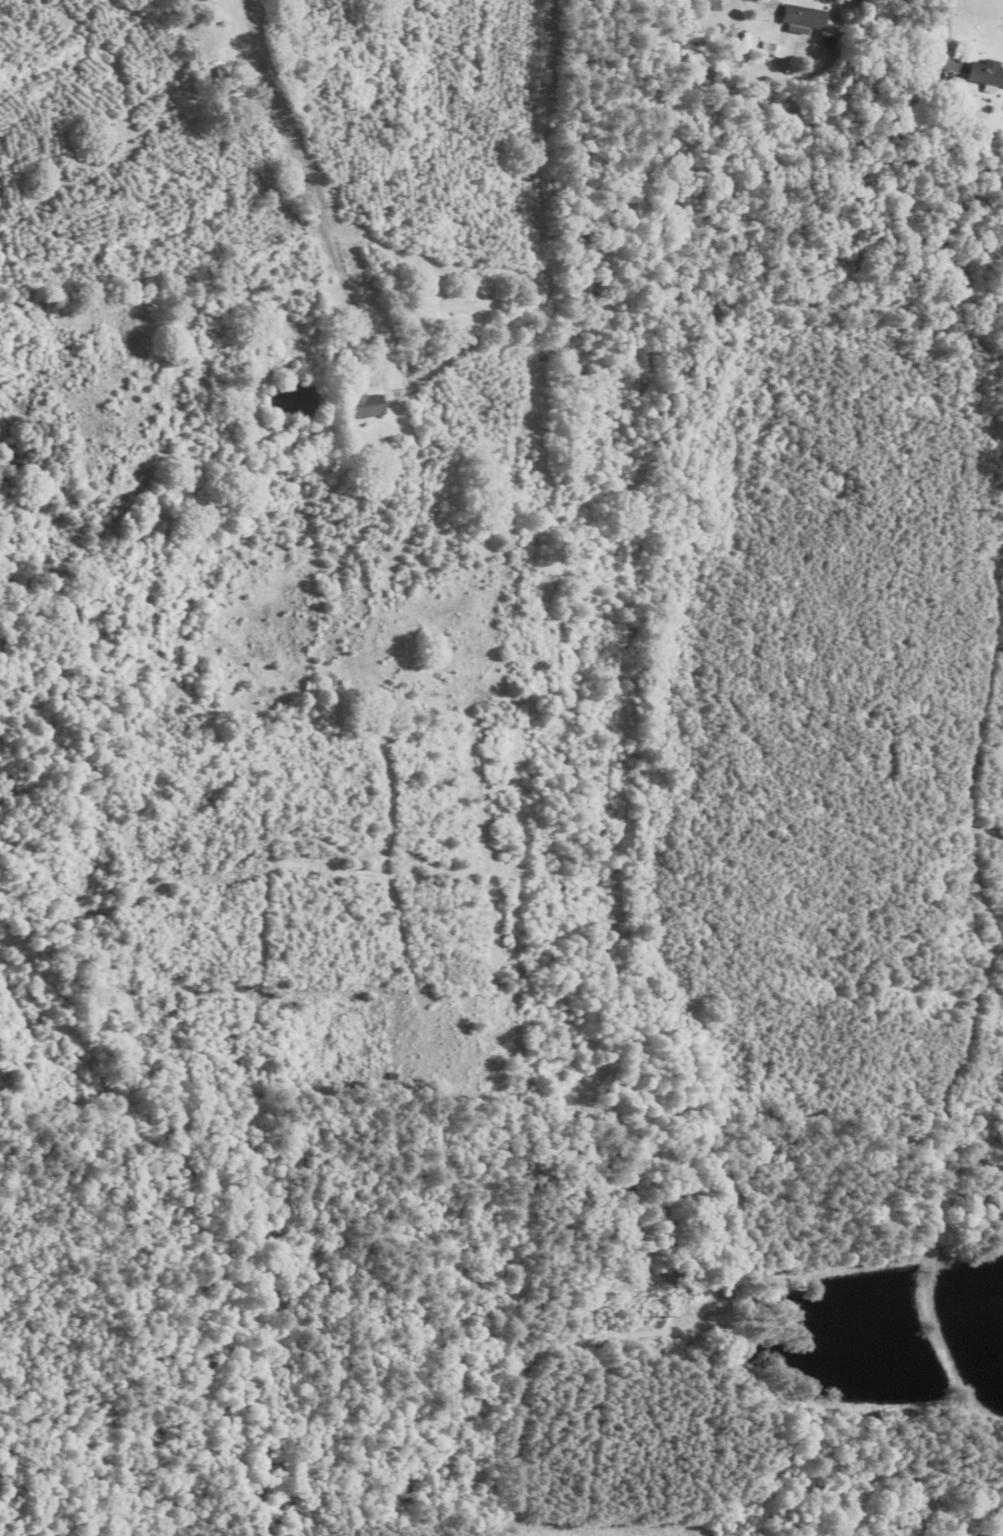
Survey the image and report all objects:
building: (804, 17)
road: (946, 32)
building: (744, 37)
building: (986, 72)
road: (303, 183)
building: (447, 315)
building: (369, 406)

